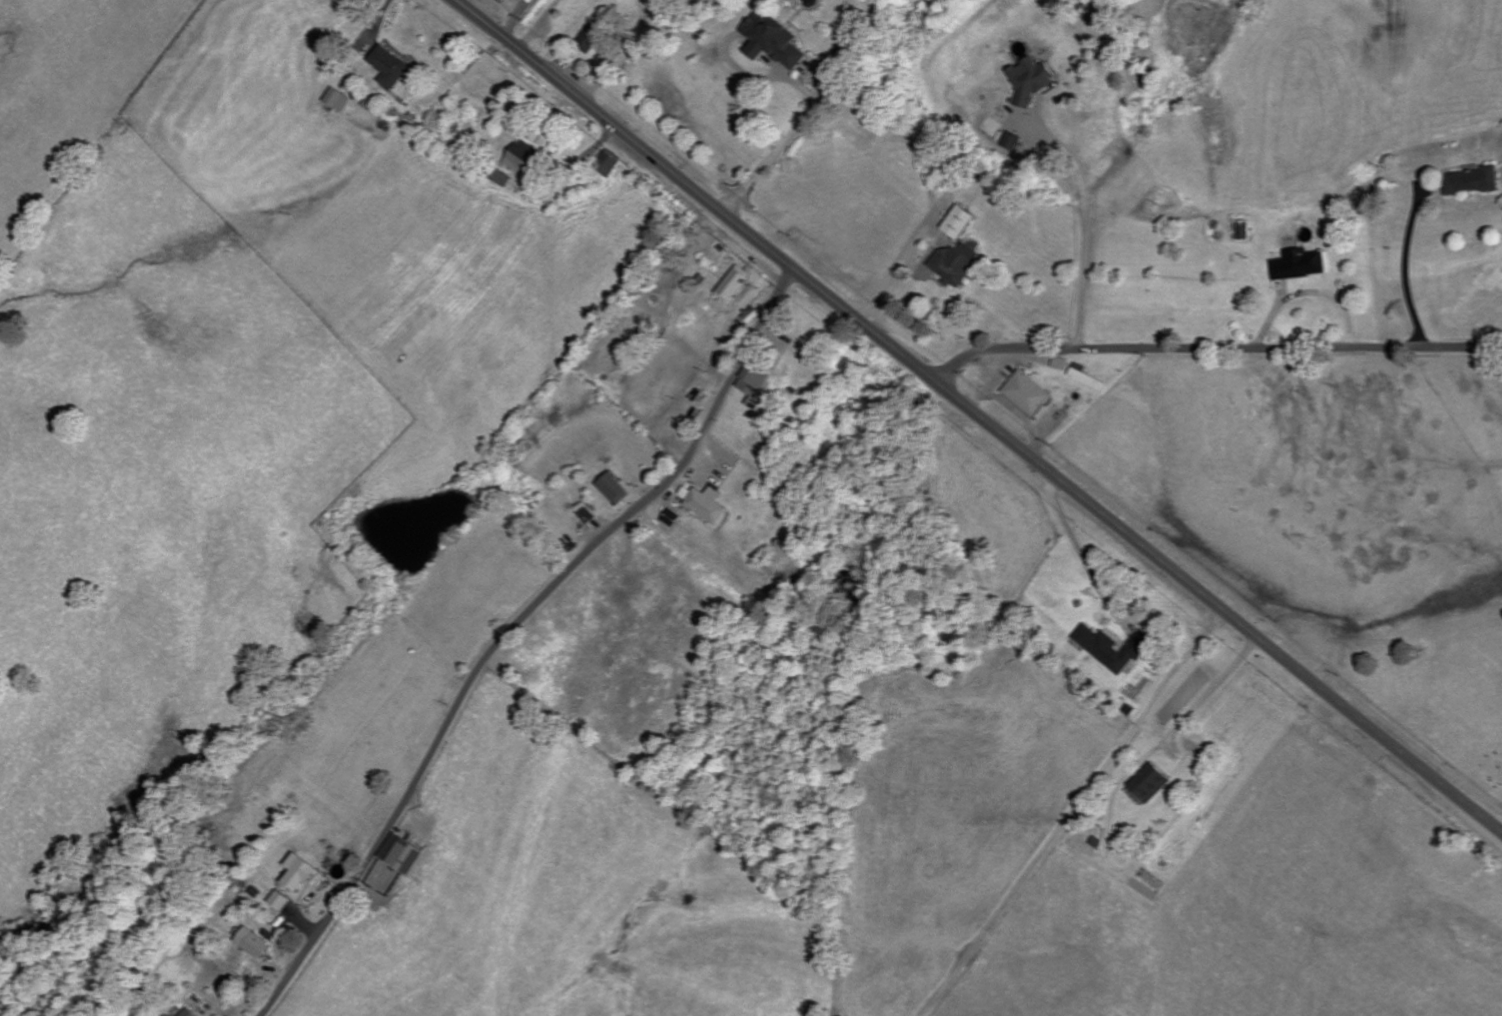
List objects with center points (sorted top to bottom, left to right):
building: (592, 39)
building: (777, 41)
building: (393, 67)
building: (1034, 81)
building: (340, 100)
road: (783, 146)
building: (526, 161)
building: (611, 163)
building: (502, 178)
building: (1474, 181)
building: (961, 223)
road: (1083, 226)
building: (1247, 231)
building: (956, 264)
building: (1303, 265)
road: (1409, 268)
road: (892, 277)
building: (734, 286)
road: (1214, 350)
road: (997, 374)
building: (1089, 379)
building: (760, 386)
building: (1028, 394)
road: (1014, 410)
road: (979, 415)
building: (615, 488)
building: (708, 503)
building: (589, 515)
road: (1082, 551)
road: (514, 629)
building: (1116, 648)
road: (1214, 695)
building: (1153, 784)
building: (403, 853)
building: (301, 872)
building: (282, 900)
building: (256, 943)
building: (189, 1013)

